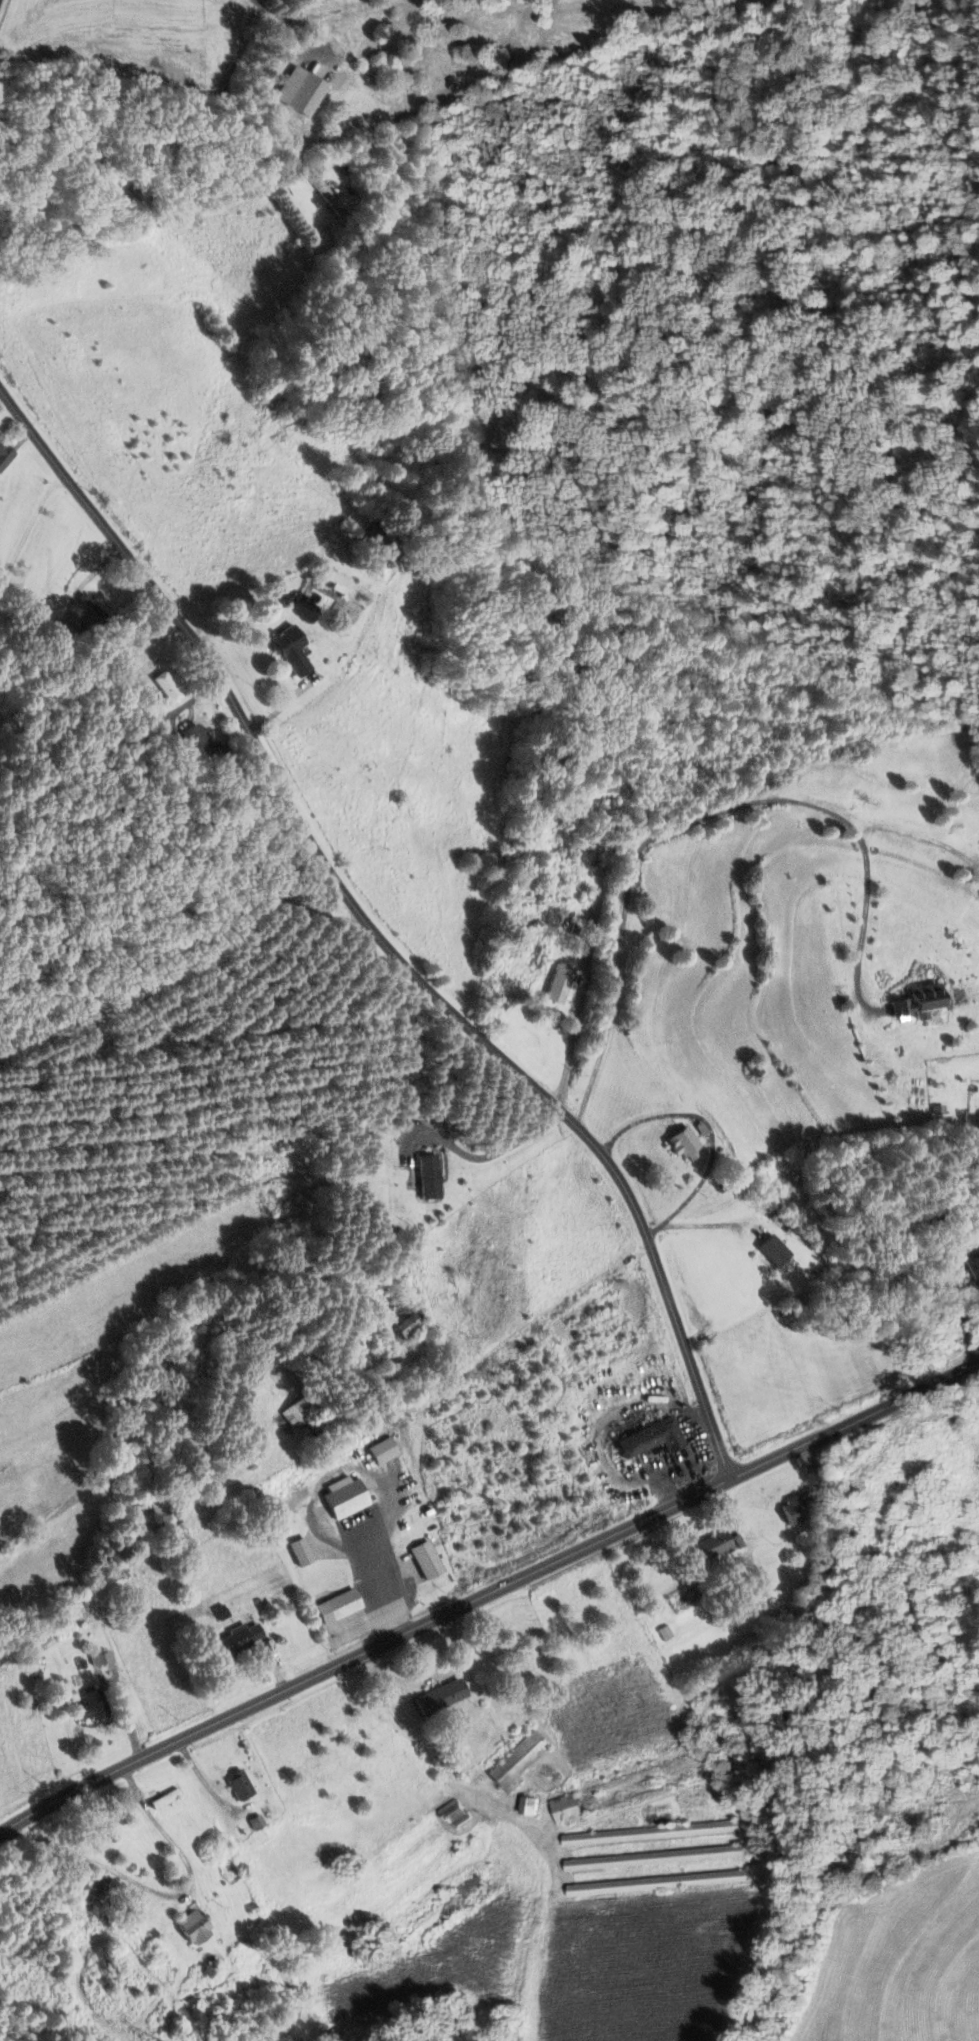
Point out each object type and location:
road: (302, 20)
building: (299, 90)
building: (326, 195)
building: (4, 454)
building: (90, 607)
building: (58, 636)
building: (289, 650)
building: (166, 686)
building: (195, 742)
road: (702, 816)
road: (869, 822)
road: (929, 838)
road: (376, 934)
road: (187, 964)
building: (559, 983)
road: (710, 1130)
building: (683, 1143)
road: (484, 1158)
road: (881, 1193)
building: (772, 1251)
building: (973, 1270)
road: (740, 1309)
building: (401, 1321)
building: (650, 1438)
building: (382, 1451)
building: (344, 1497)
building: (791, 1511)
building: (168, 1522)
building: (710, 1546)
building: (300, 1552)
building: (425, 1559)
road: (487, 1592)
building: (337, 1606)
building: (237, 1640)
building: (746, 1642)
building: (100, 1658)
road: (428, 1677)
building: (437, 1697)
building: (91, 1707)
building: (517, 1761)
building: (237, 1784)
building: (625, 1787)
building: (163, 1798)
building: (525, 1804)
building: (654, 1810)
building: (451, 1812)
building: (649, 1832)
building: (651, 1857)
building: (653, 1882)
building: (90, 1893)
road: (161, 1893)
building: (443, 1911)
building: (191, 1926)

